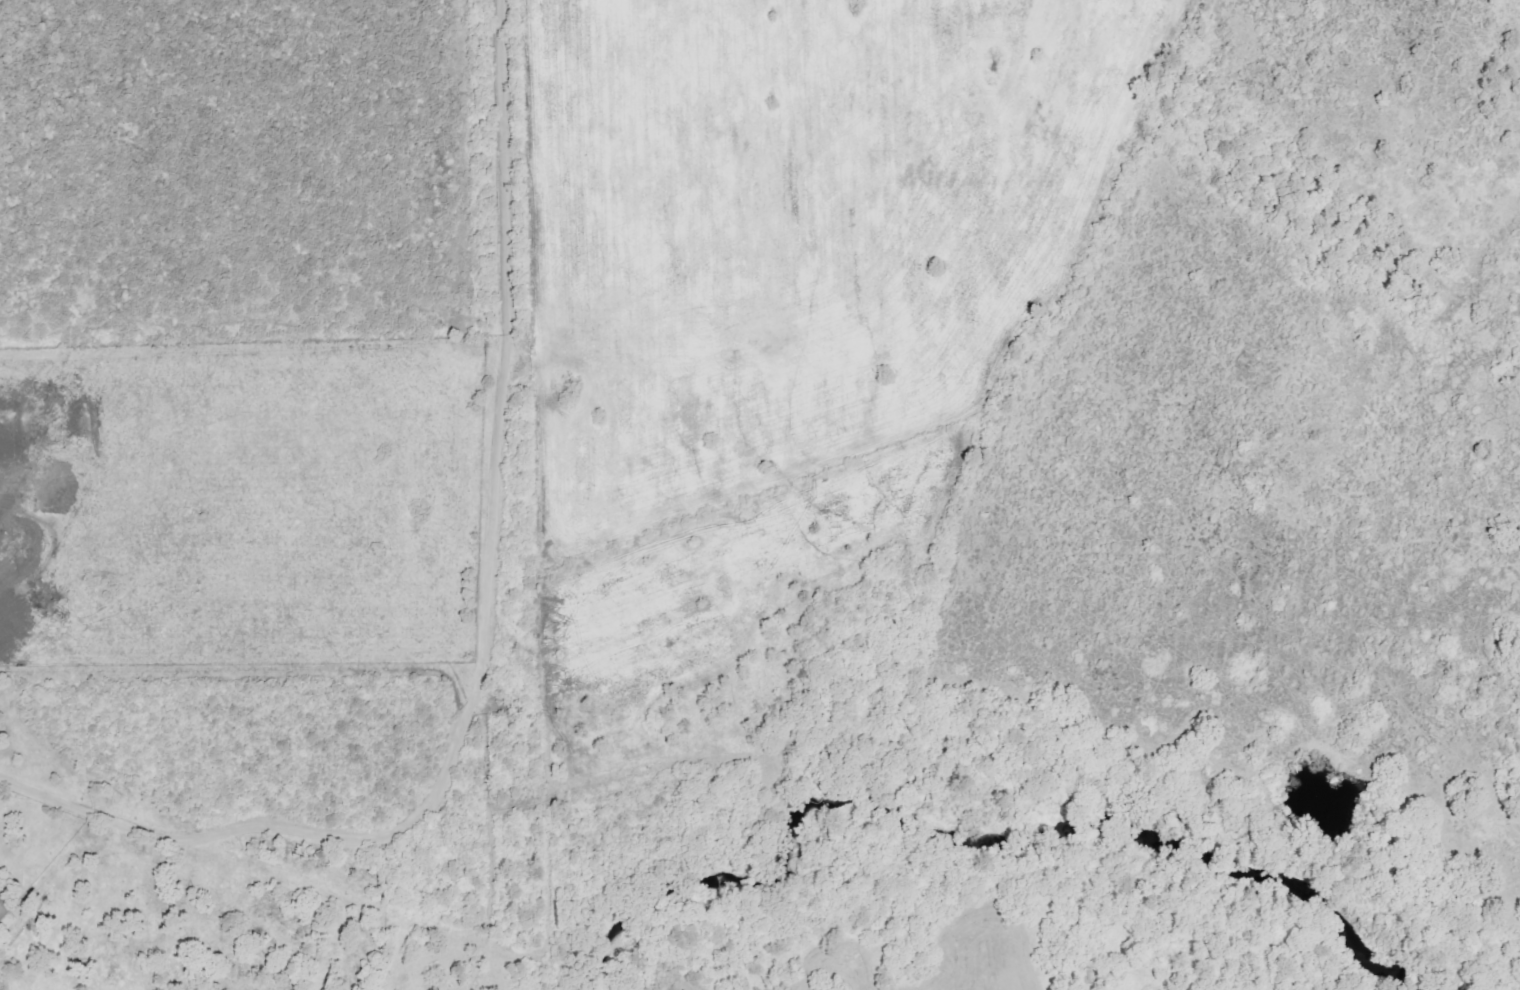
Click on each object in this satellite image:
road: (478, 630)
building: (4, 909)

